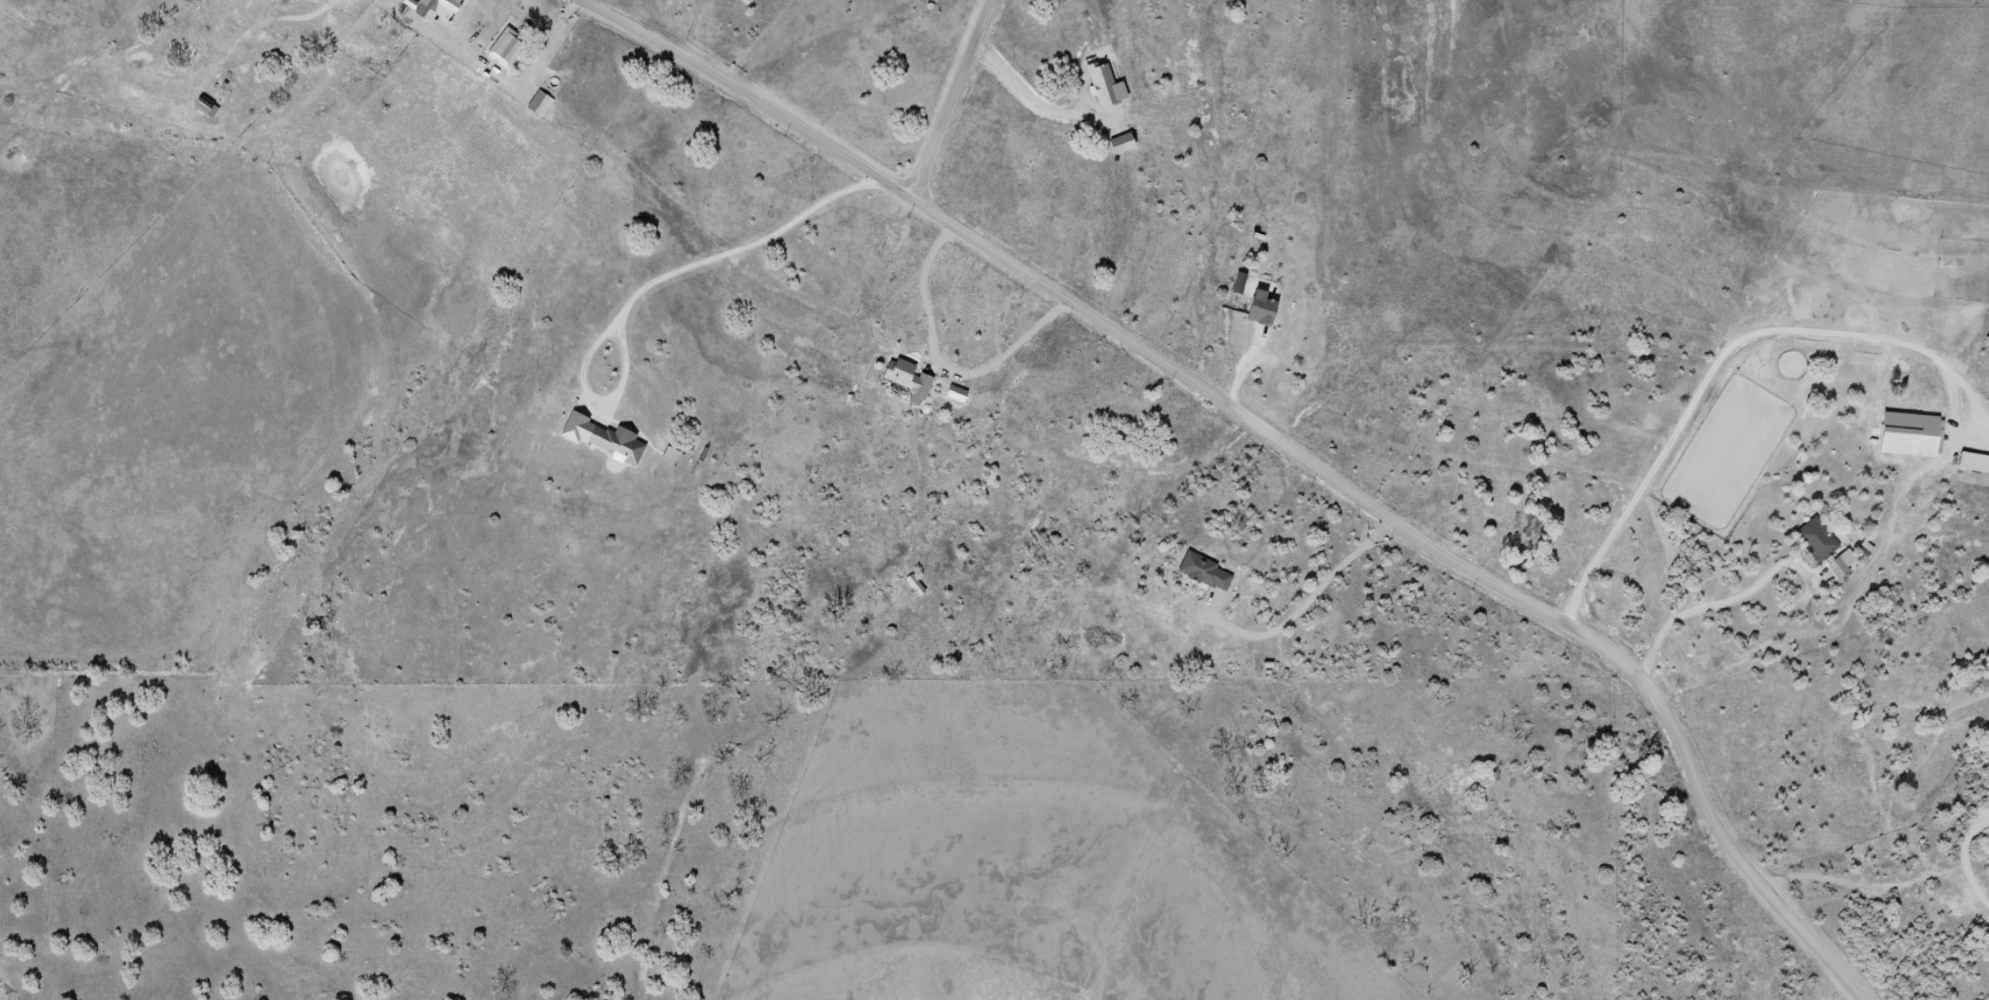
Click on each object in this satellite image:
building: (429, 10)
building: (507, 49)
road: (952, 99)
building: (203, 107)
building: (908, 381)
road: (1705, 382)
building: (613, 444)
road: (1282, 448)
building: (1817, 541)
building: (1838, 570)
building: (1205, 574)
building: (914, 586)

